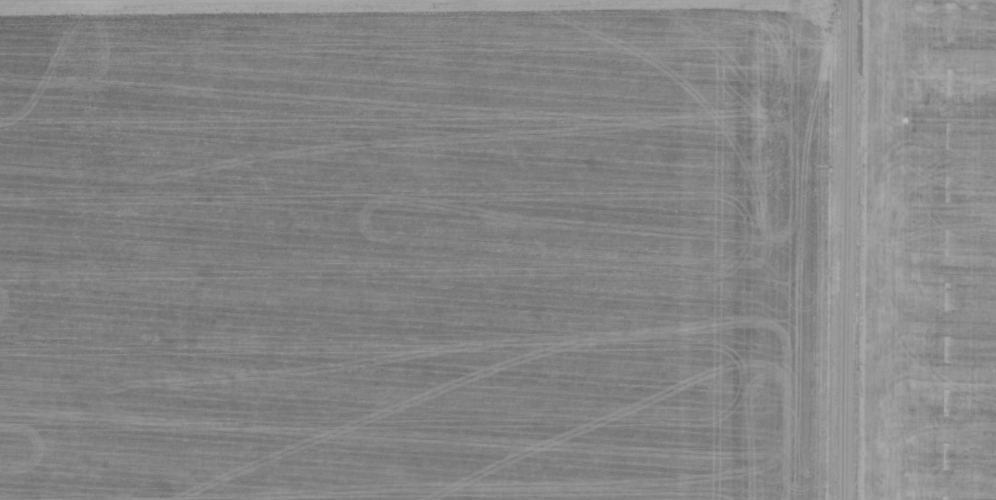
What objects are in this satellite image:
road: (850, 250)

